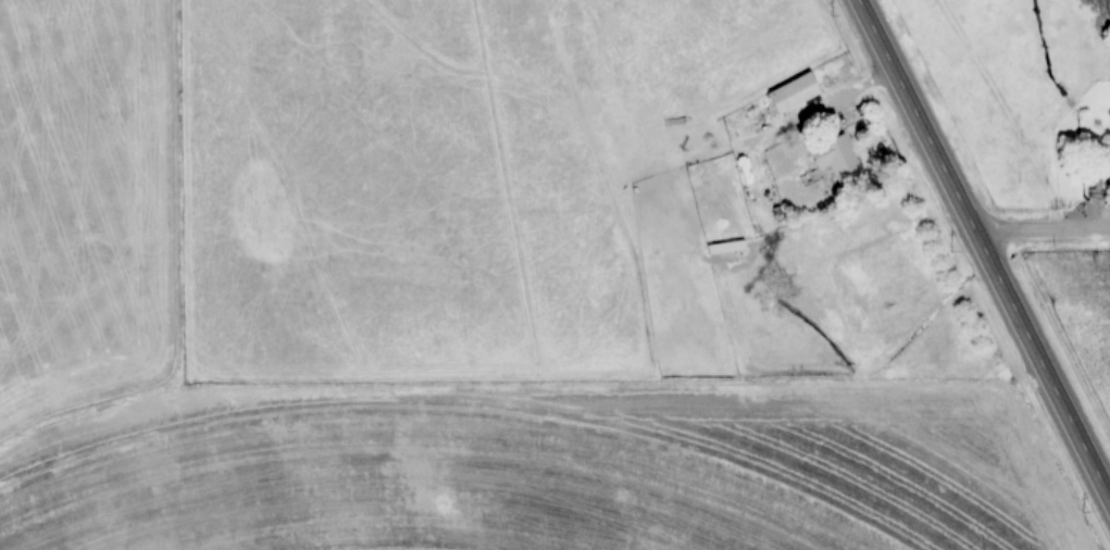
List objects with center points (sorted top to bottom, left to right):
building: (795, 92)
building: (838, 159)
road: (1042, 229)
building: (725, 247)
road: (984, 251)

